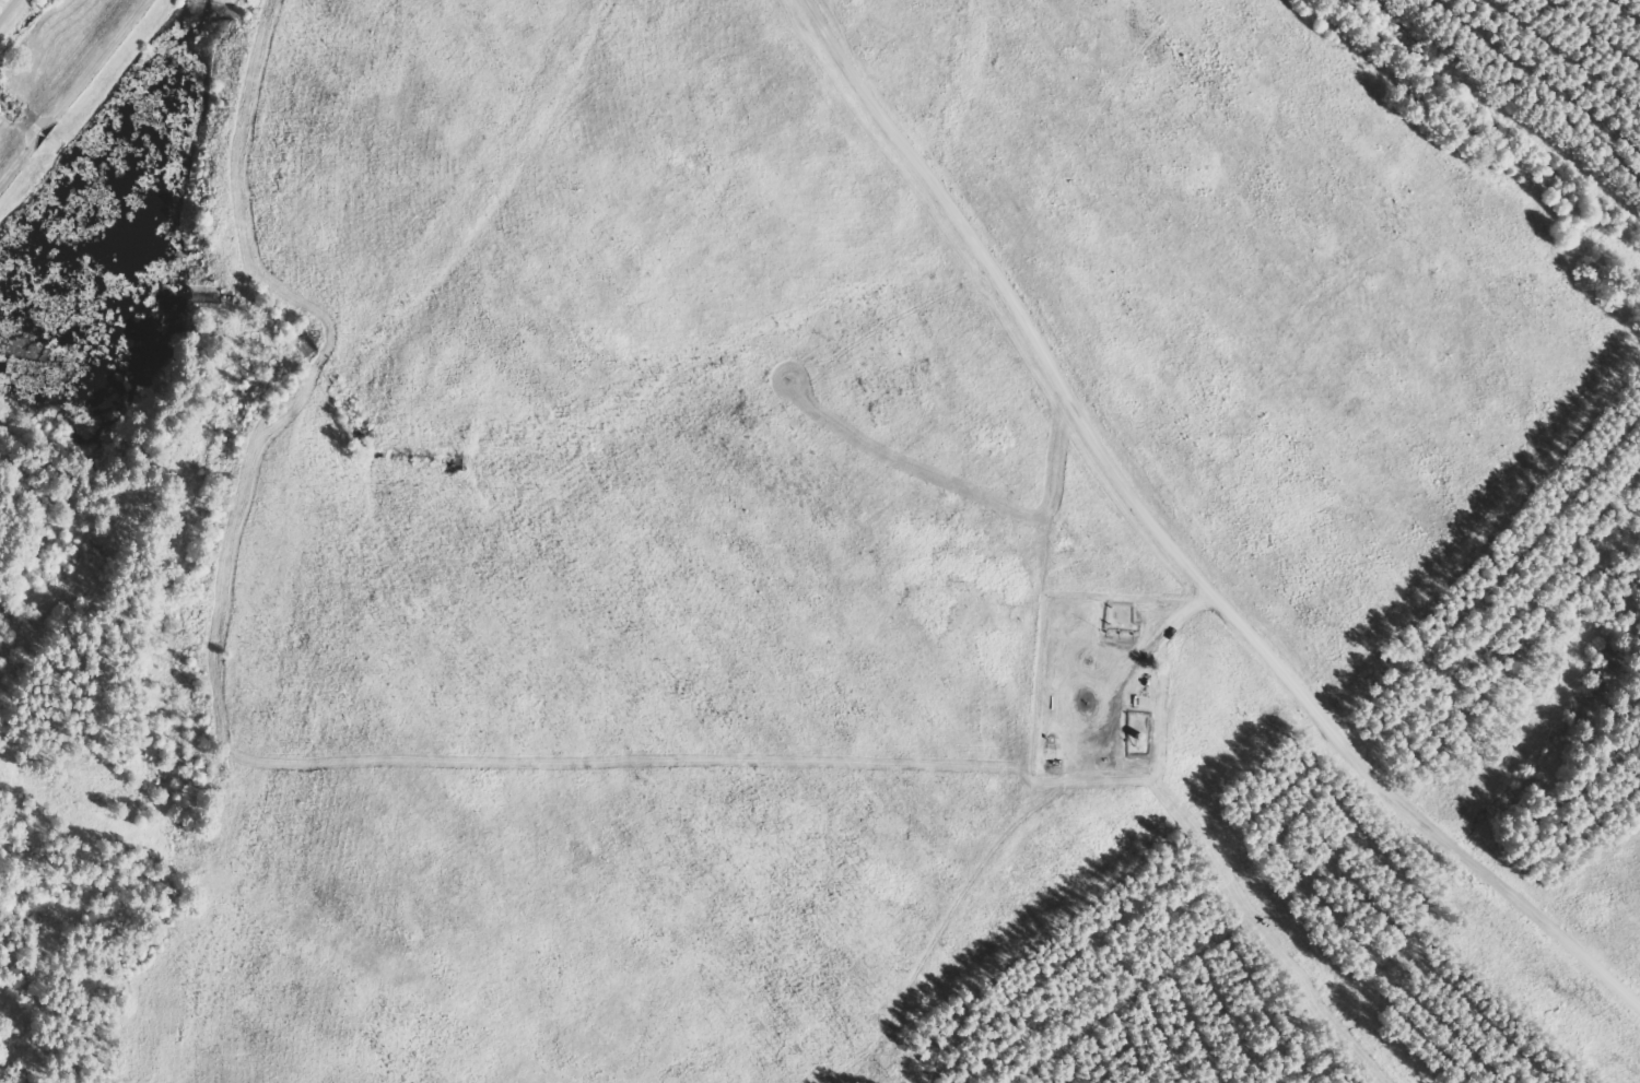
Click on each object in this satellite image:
road: (1128, 486)
road: (1585, 958)

